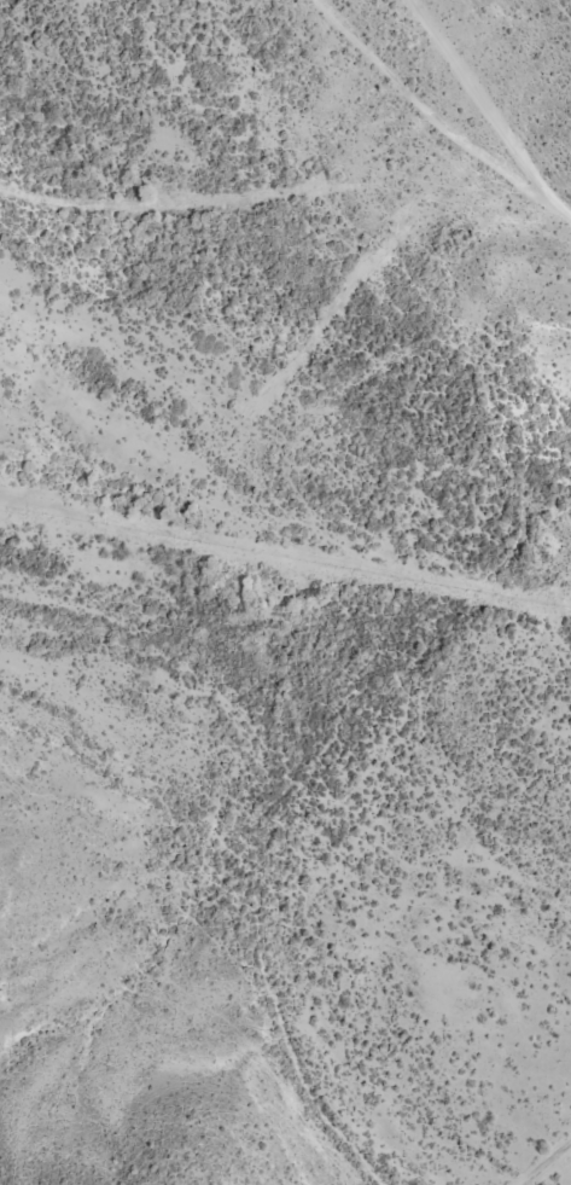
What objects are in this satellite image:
road: (445, 111)

